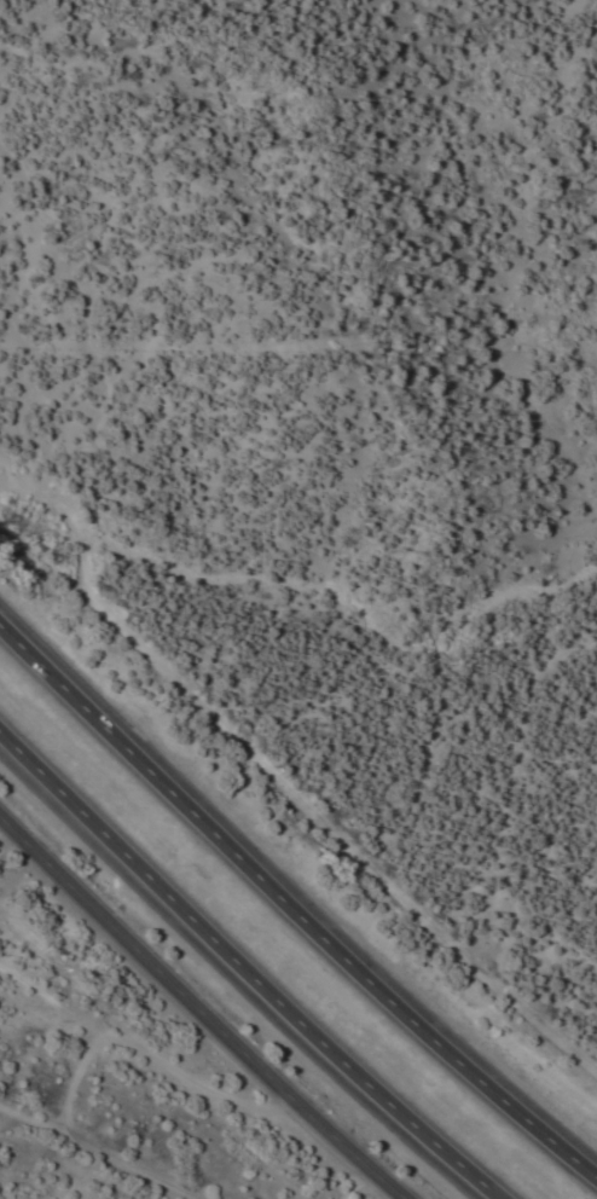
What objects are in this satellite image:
road: (291, 911)
road: (243, 972)
road: (201, 1009)

